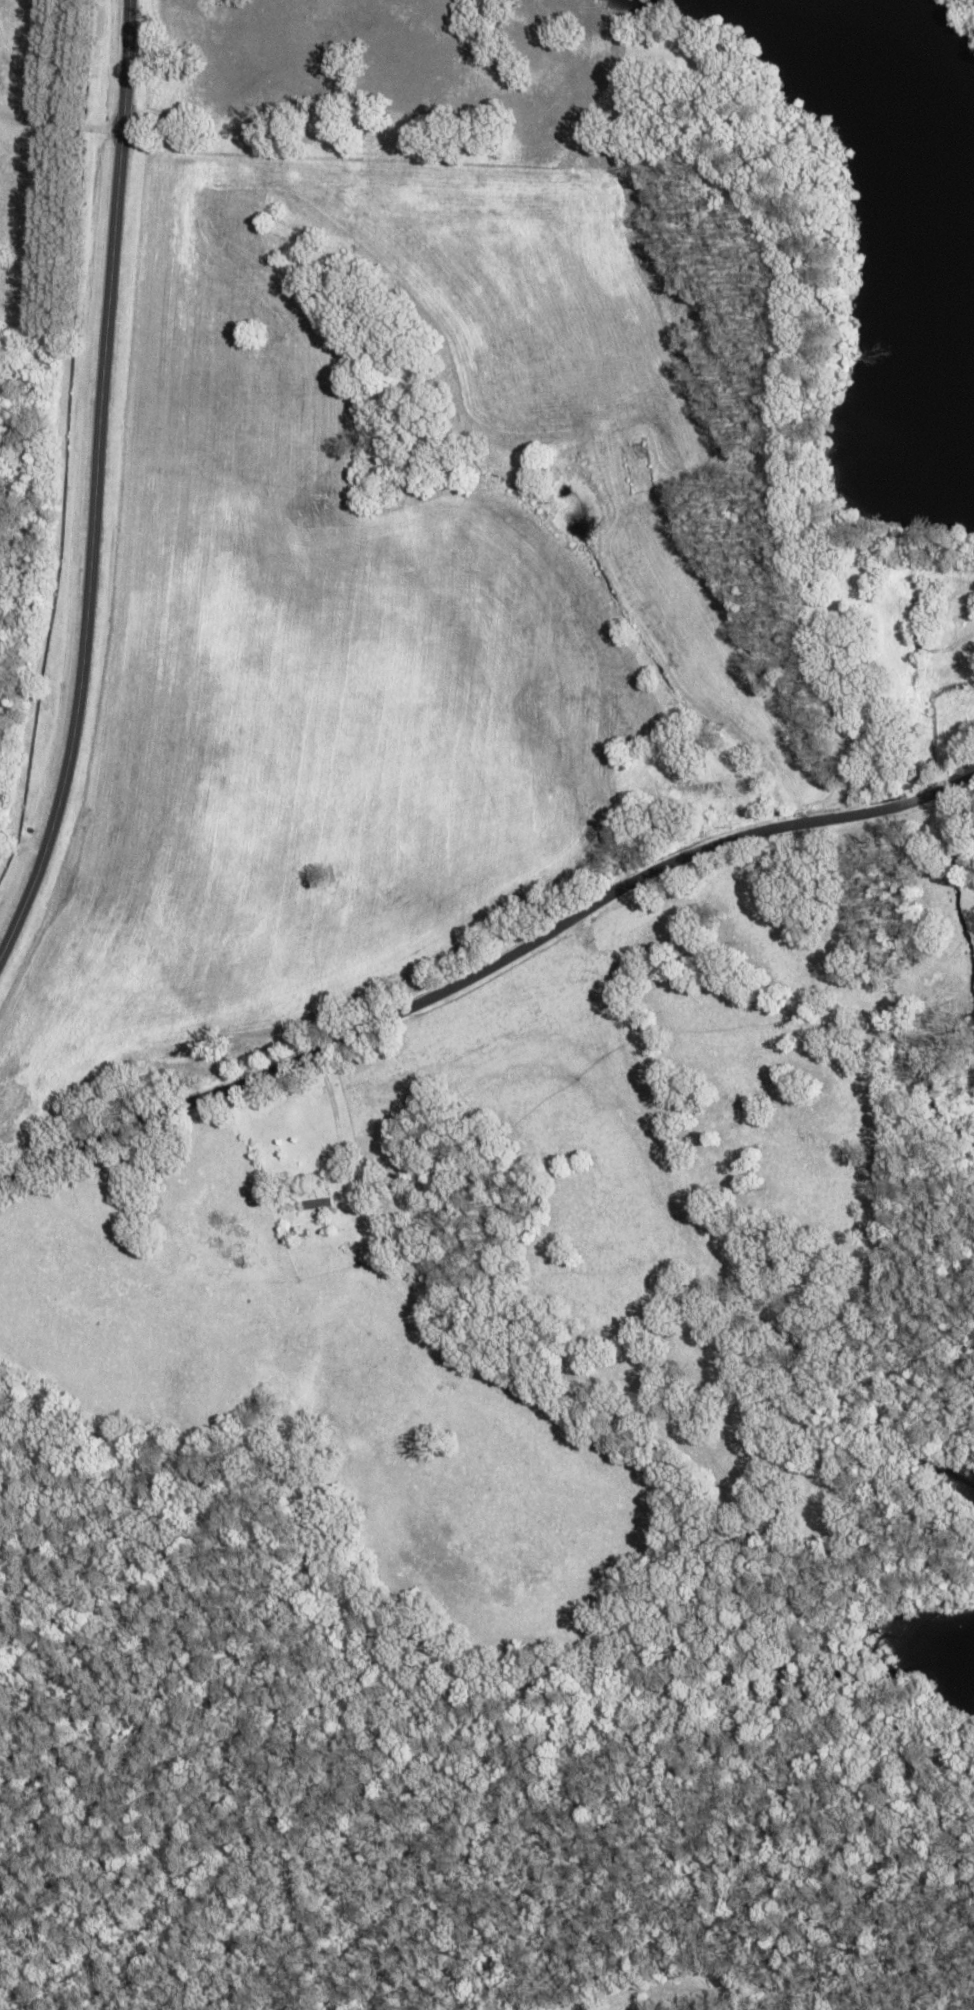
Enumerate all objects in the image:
road: (95, 481)
road: (481, 962)
building: (317, 1205)

